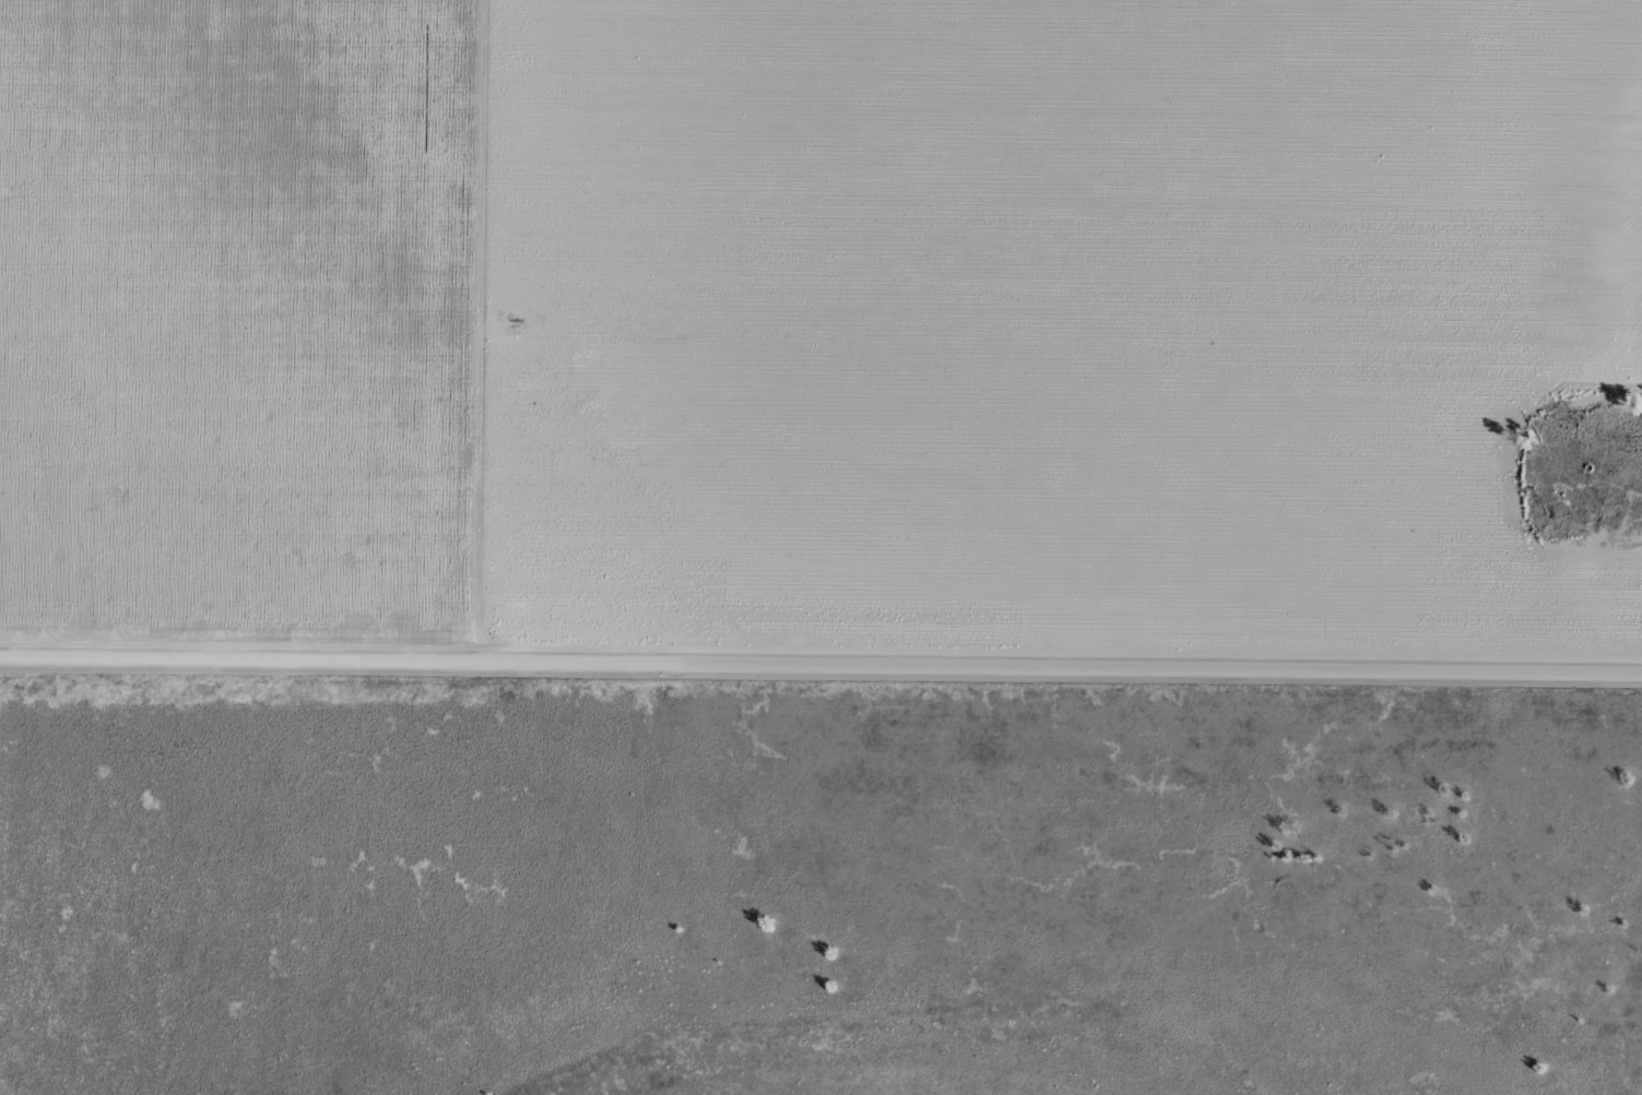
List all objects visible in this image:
road: (509, 332)
road: (820, 666)

